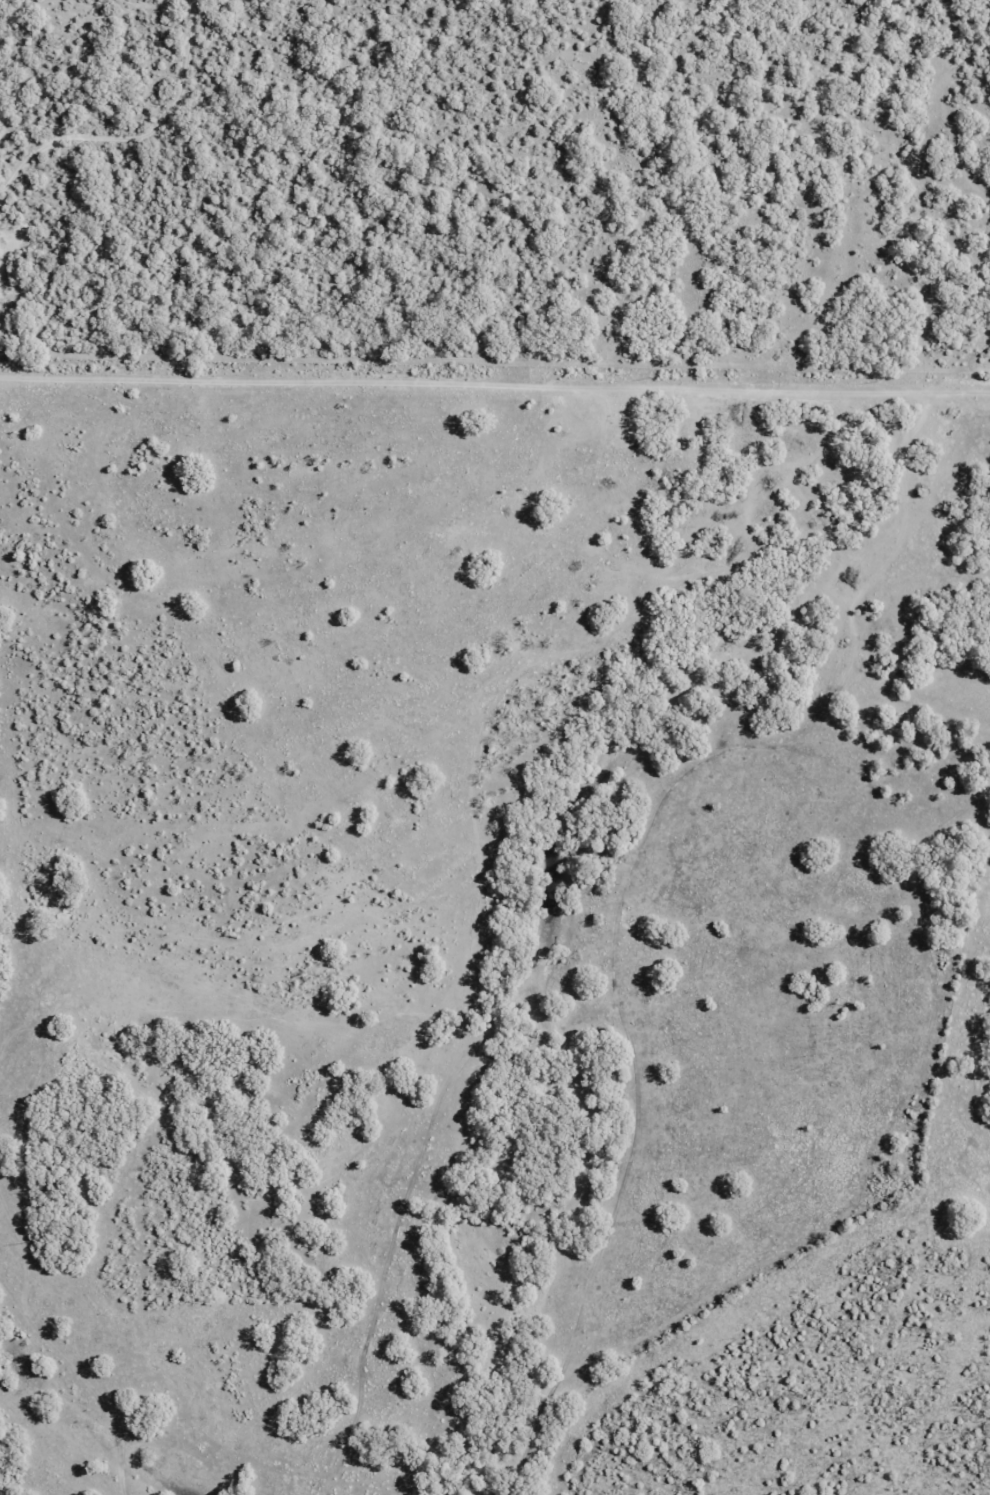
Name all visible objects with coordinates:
road: (495, 402)

